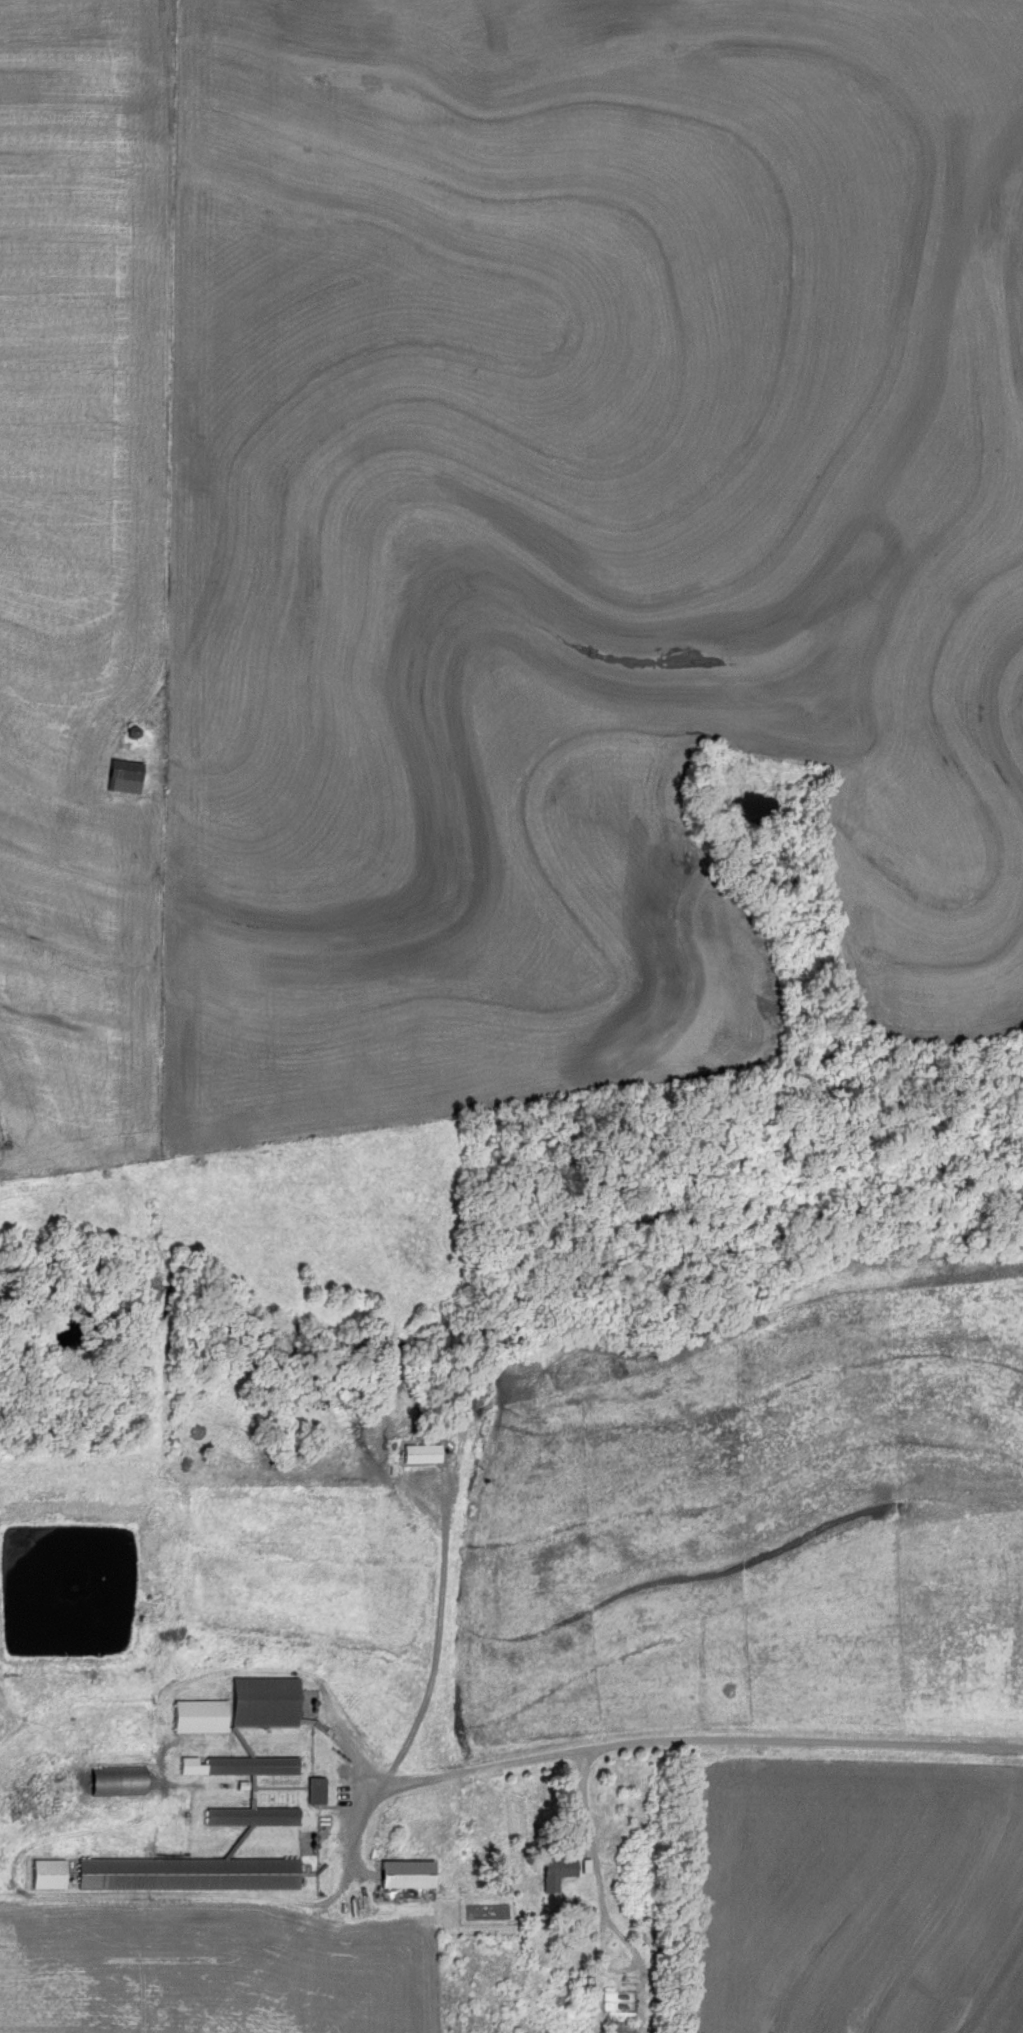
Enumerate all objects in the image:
building: (123, 777)
building: (417, 1453)
building: (262, 1703)
road: (538, 1757)
building: (250, 1767)
building: (313, 1792)
road: (579, 1805)
building: (249, 1817)
building: (556, 1868)
building: (45, 1874)
building: (185, 1874)
building: (402, 1875)

